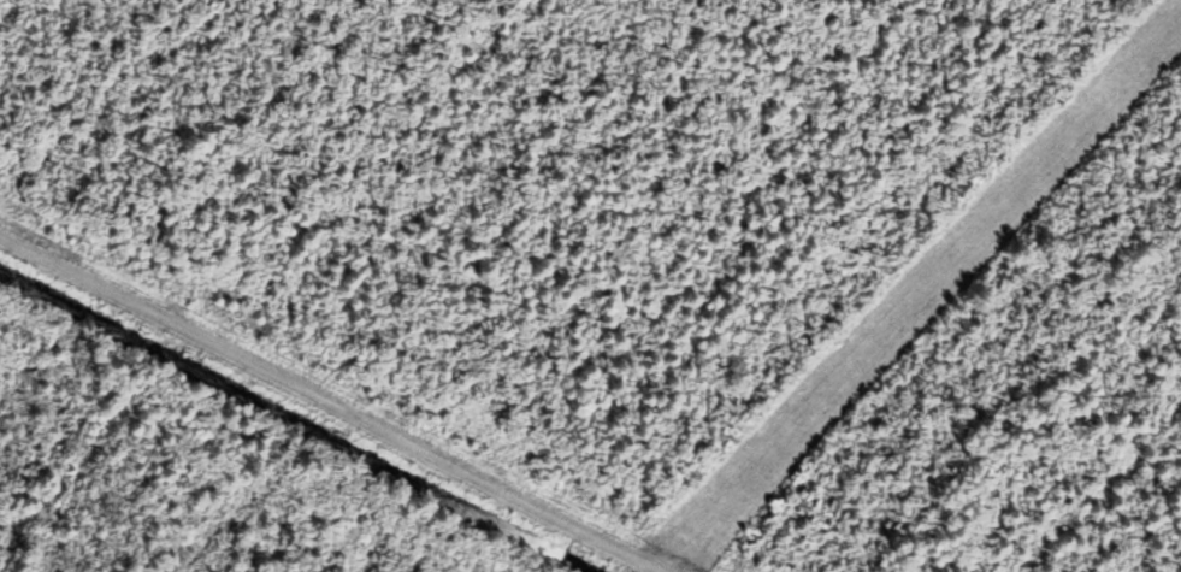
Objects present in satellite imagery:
road: (330, 401)

